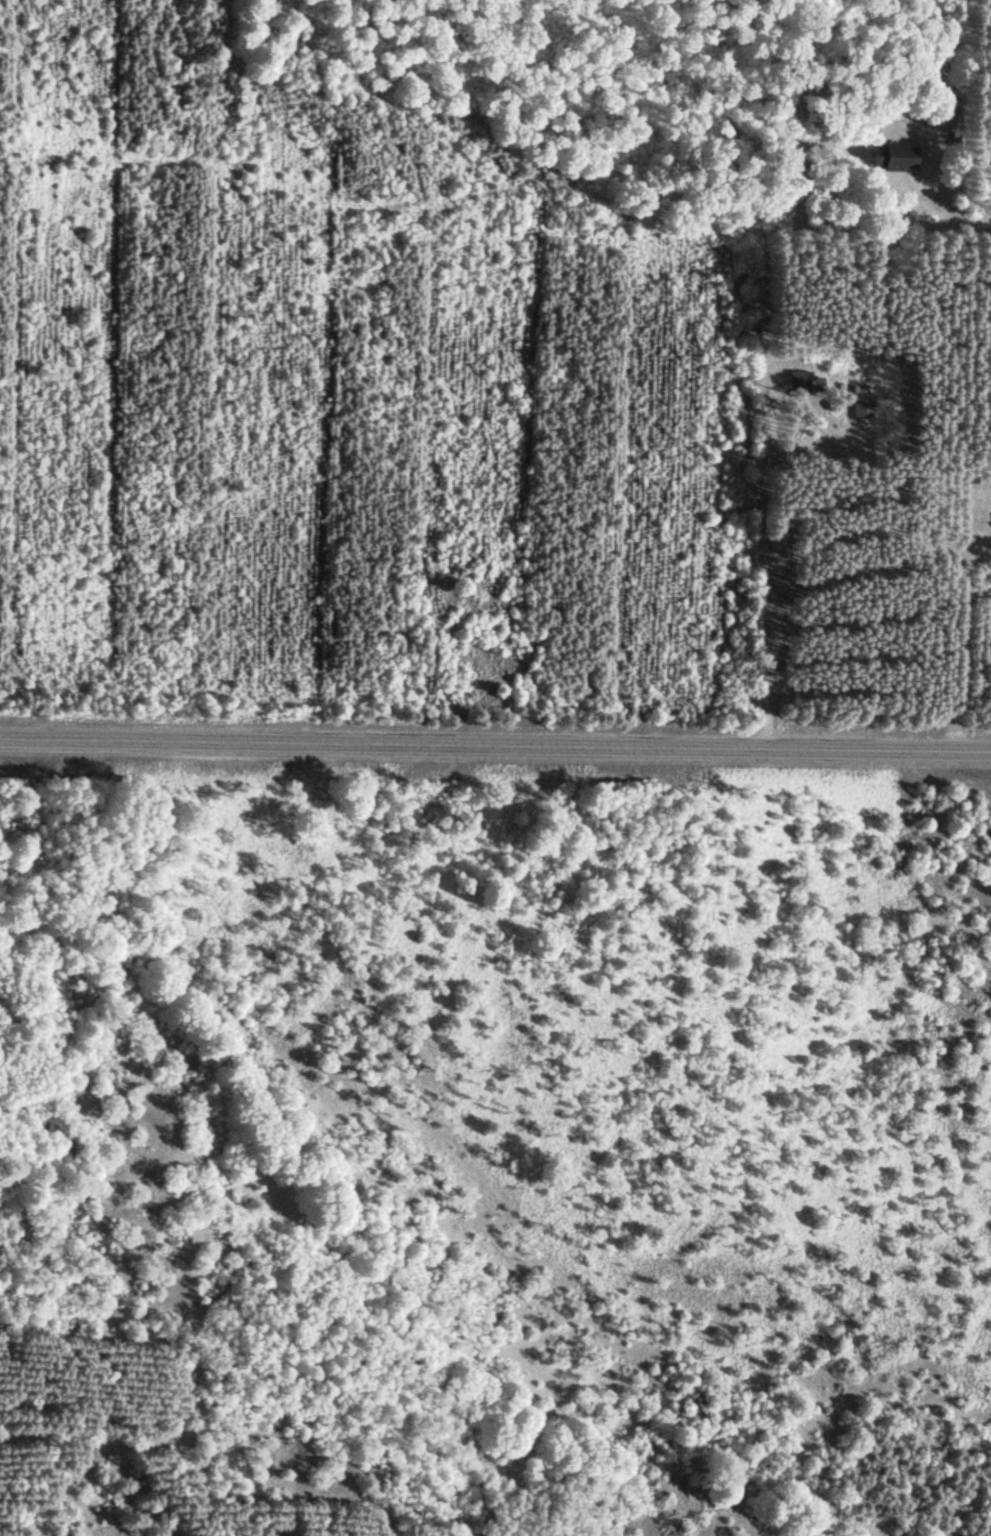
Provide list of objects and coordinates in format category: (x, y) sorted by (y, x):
building: (889, 156)
road: (495, 747)

